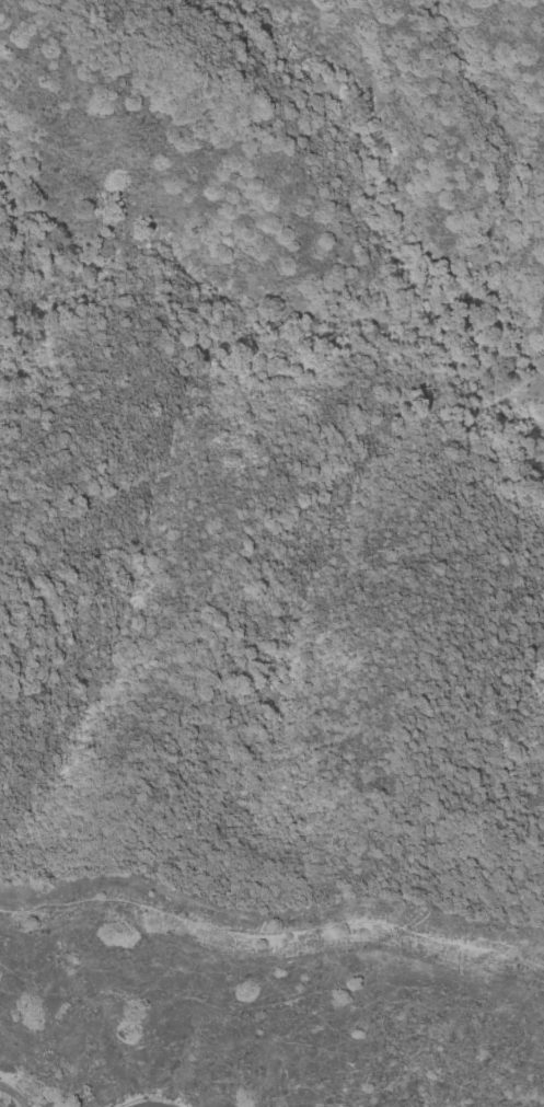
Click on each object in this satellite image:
road: (7, 1097)
road: (151, 1104)

